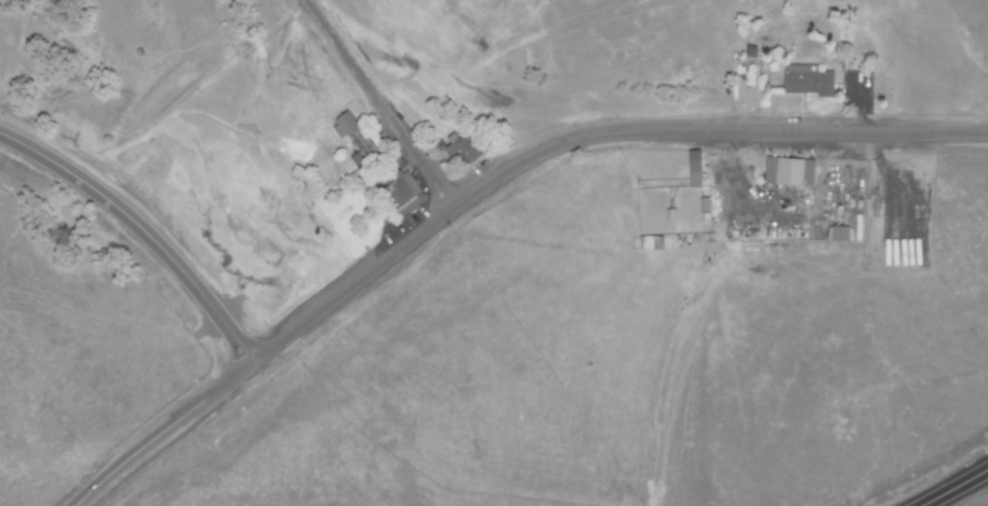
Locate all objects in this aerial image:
building: (805, 82)
road: (379, 103)
park: (214, 109)
road: (586, 135)
building: (354, 142)
building: (460, 150)
building: (693, 170)
building: (788, 174)
building: (401, 192)
road: (142, 229)
building: (838, 235)
road: (165, 430)
road: (954, 487)

